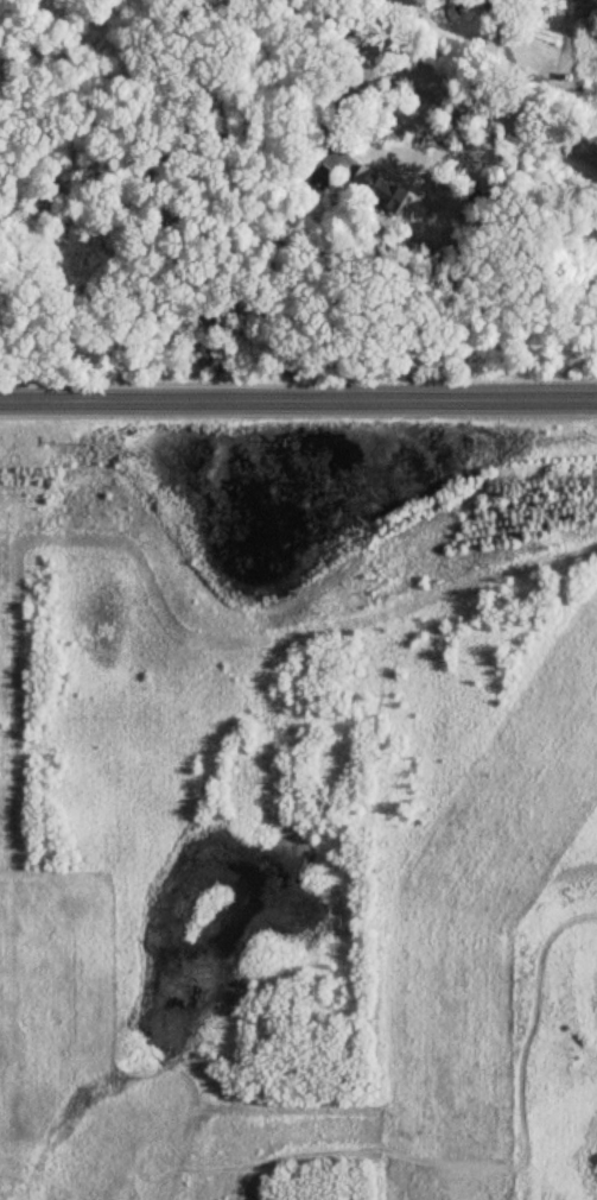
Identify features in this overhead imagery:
road: (446, 81)
road: (342, 103)
road: (591, 147)
road: (298, 402)

